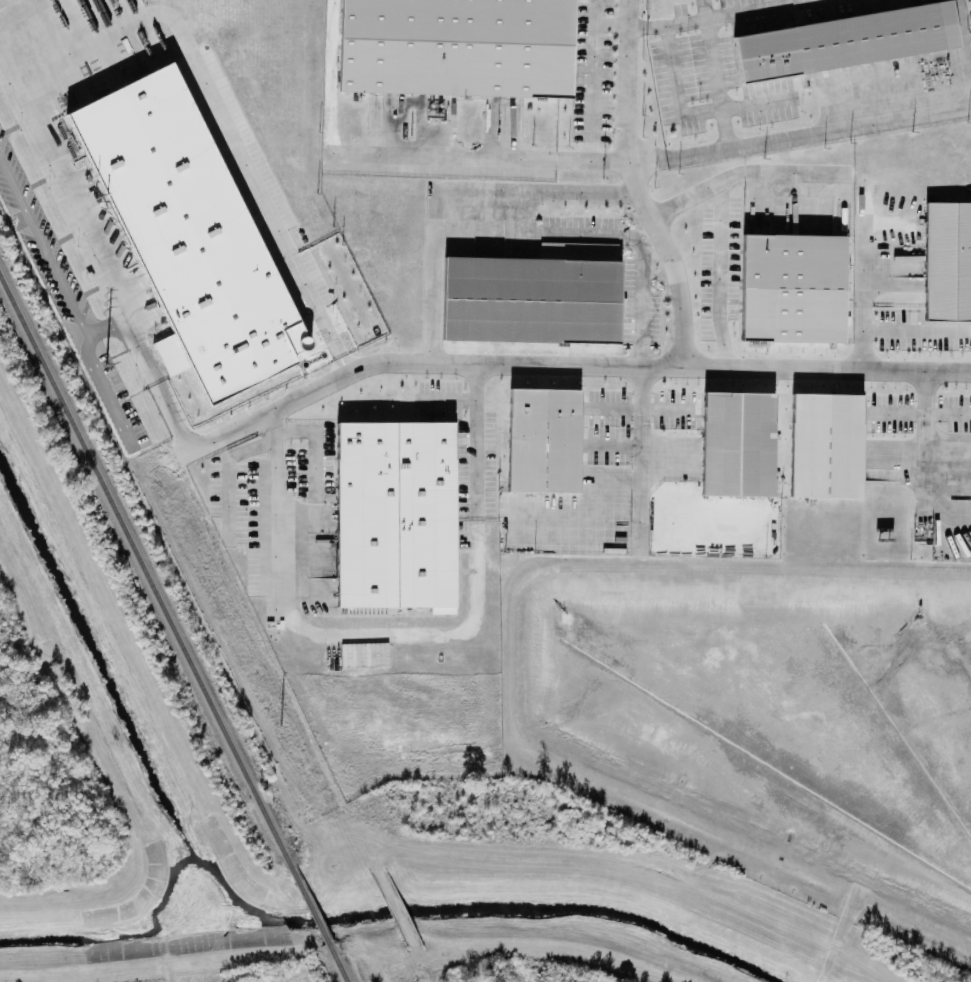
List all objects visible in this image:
road: (724, 12)
road: (637, 25)
road: (964, 41)
building: (844, 42)
building: (455, 47)
road: (49, 72)
road: (9, 76)
road: (717, 81)
road: (593, 92)
road: (818, 130)
road: (452, 155)
road: (648, 160)
road: (779, 170)
road: (780, 185)
road: (453, 190)
building: (195, 235)
road: (719, 236)
road: (625, 238)
road: (41, 247)
building: (947, 263)
building: (792, 290)
building: (530, 299)
road: (862, 305)
road: (681, 322)
road: (105, 326)
road: (914, 332)
power tower: (96, 354)
road: (464, 366)
road: (104, 389)
road: (452, 399)
road: (922, 413)
road: (925, 435)
building: (542, 438)
road: (477, 443)
building: (737, 443)
building: (826, 443)
road: (641, 457)
road: (661, 459)
road: (920, 460)
road: (275, 512)
building: (396, 514)
road: (947, 517)
railway: (145, 573)
road: (423, 633)
building: (365, 655)
power tower: (280, 729)
river: (406, 904)
railway: (310, 908)
road: (395, 910)
road: (525, 954)
railway: (337, 964)
road: (420, 964)

